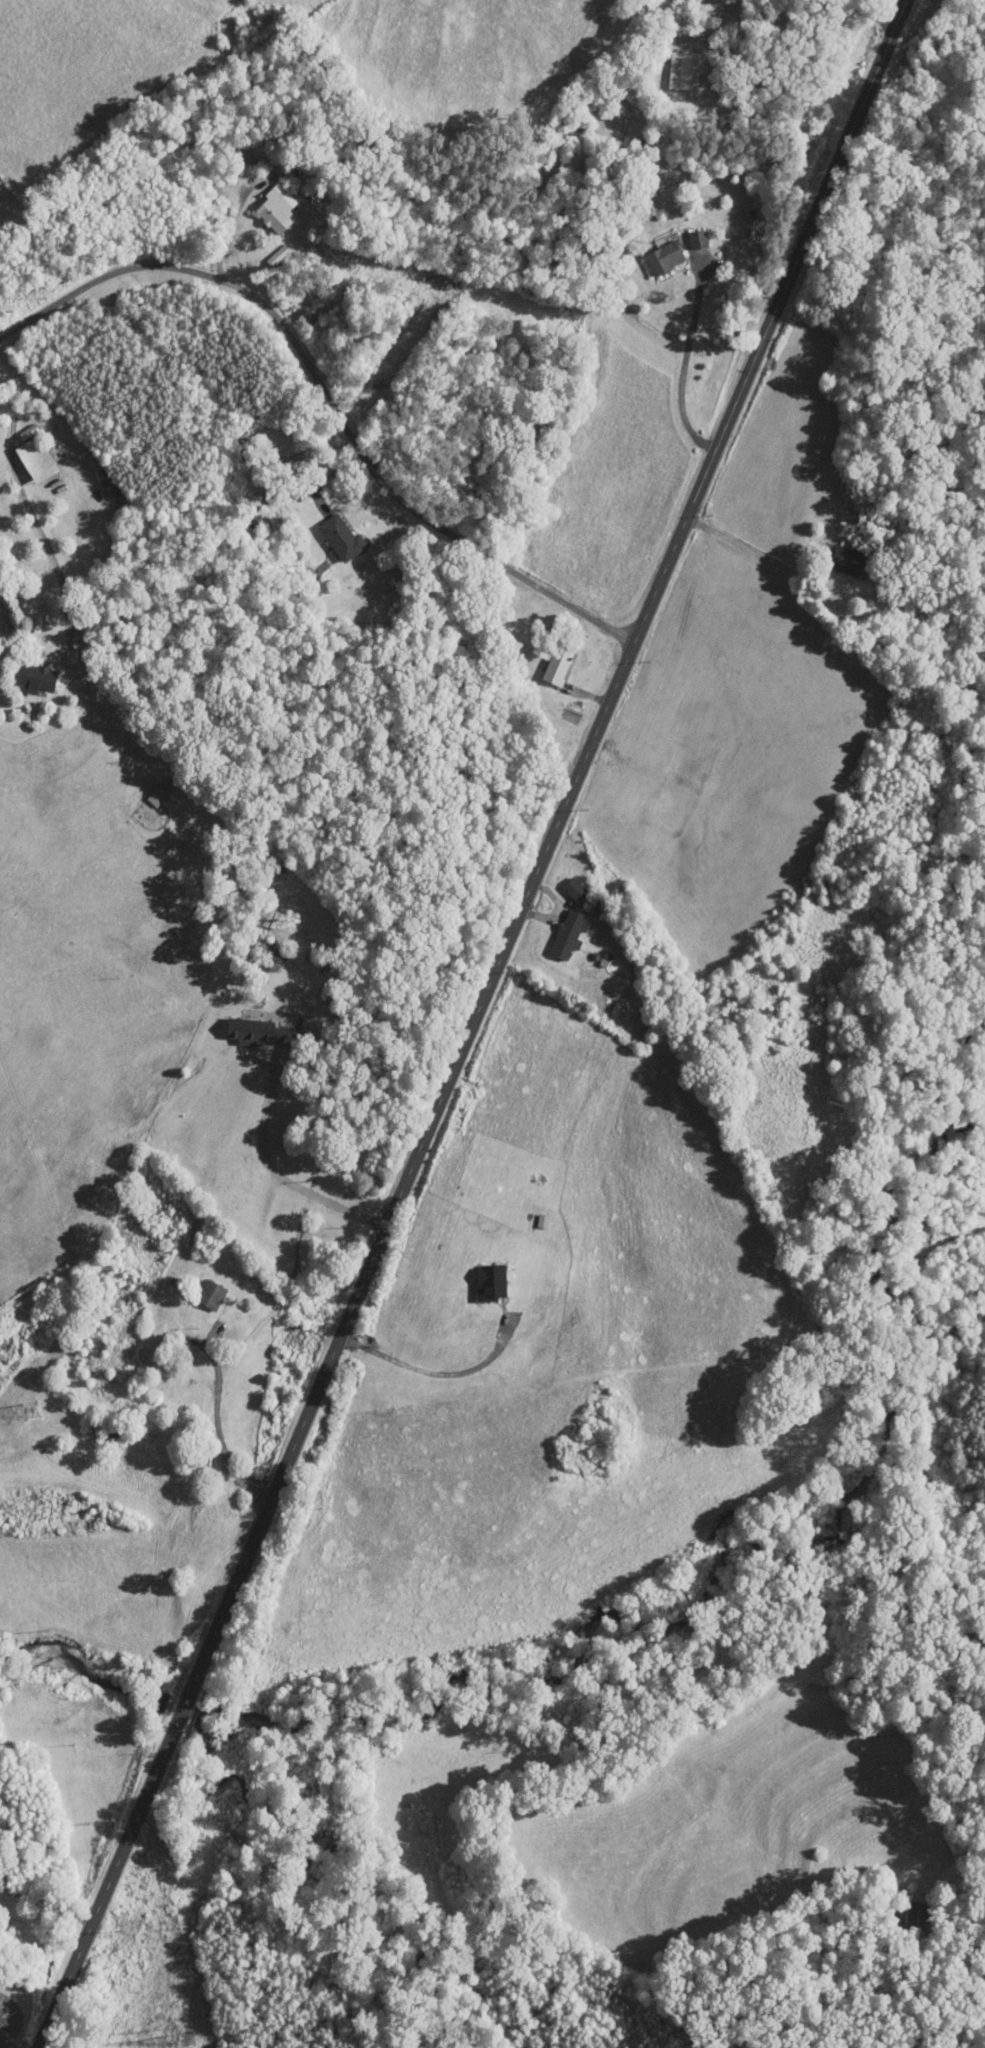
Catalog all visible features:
building: (689, 72)
building: (276, 212)
building: (699, 240)
building: (665, 259)
road: (685, 360)
road: (329, 386)
building: (37, 460)
road: (20, 486)
building: (342, 539)
road: (739, 542)
building: (850, 563)
building: (559, 663)
building: (37, 679)
building: (162, 794)
building: (576, 890)
building: (272, 920)
building: (569, 936)
building: (272, 957)
road: (472, 1024)
building: (250, 1032)
building: (289, 1038)
road: (279, 1176)
building: (211, 1296)
road: (433, 1373)
power tower: (29, 1409)
road: (219, 1432)
building: (101, 1434)
building: (202, 1461)
road: (47, 1897)
building: (912, 1921)
power tower: (185, 2042)

